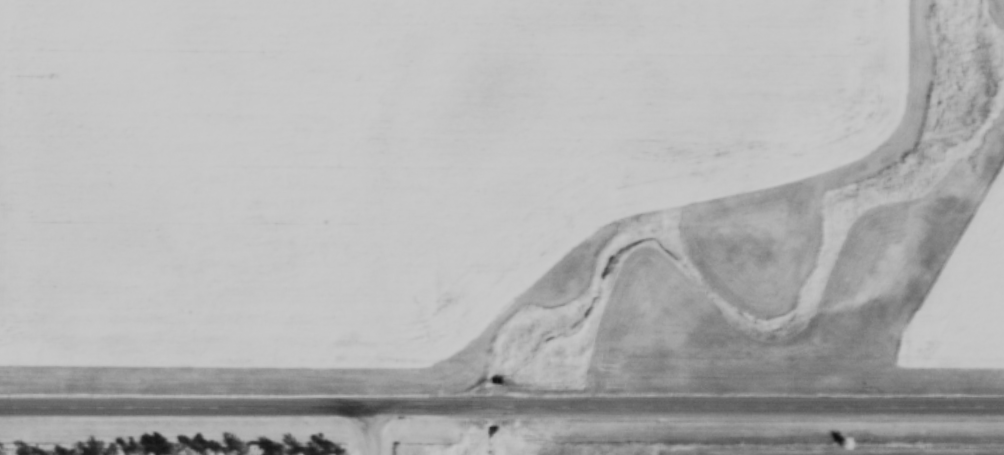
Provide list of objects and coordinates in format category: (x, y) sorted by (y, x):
road: (501, 407)
road: (371, 432)

